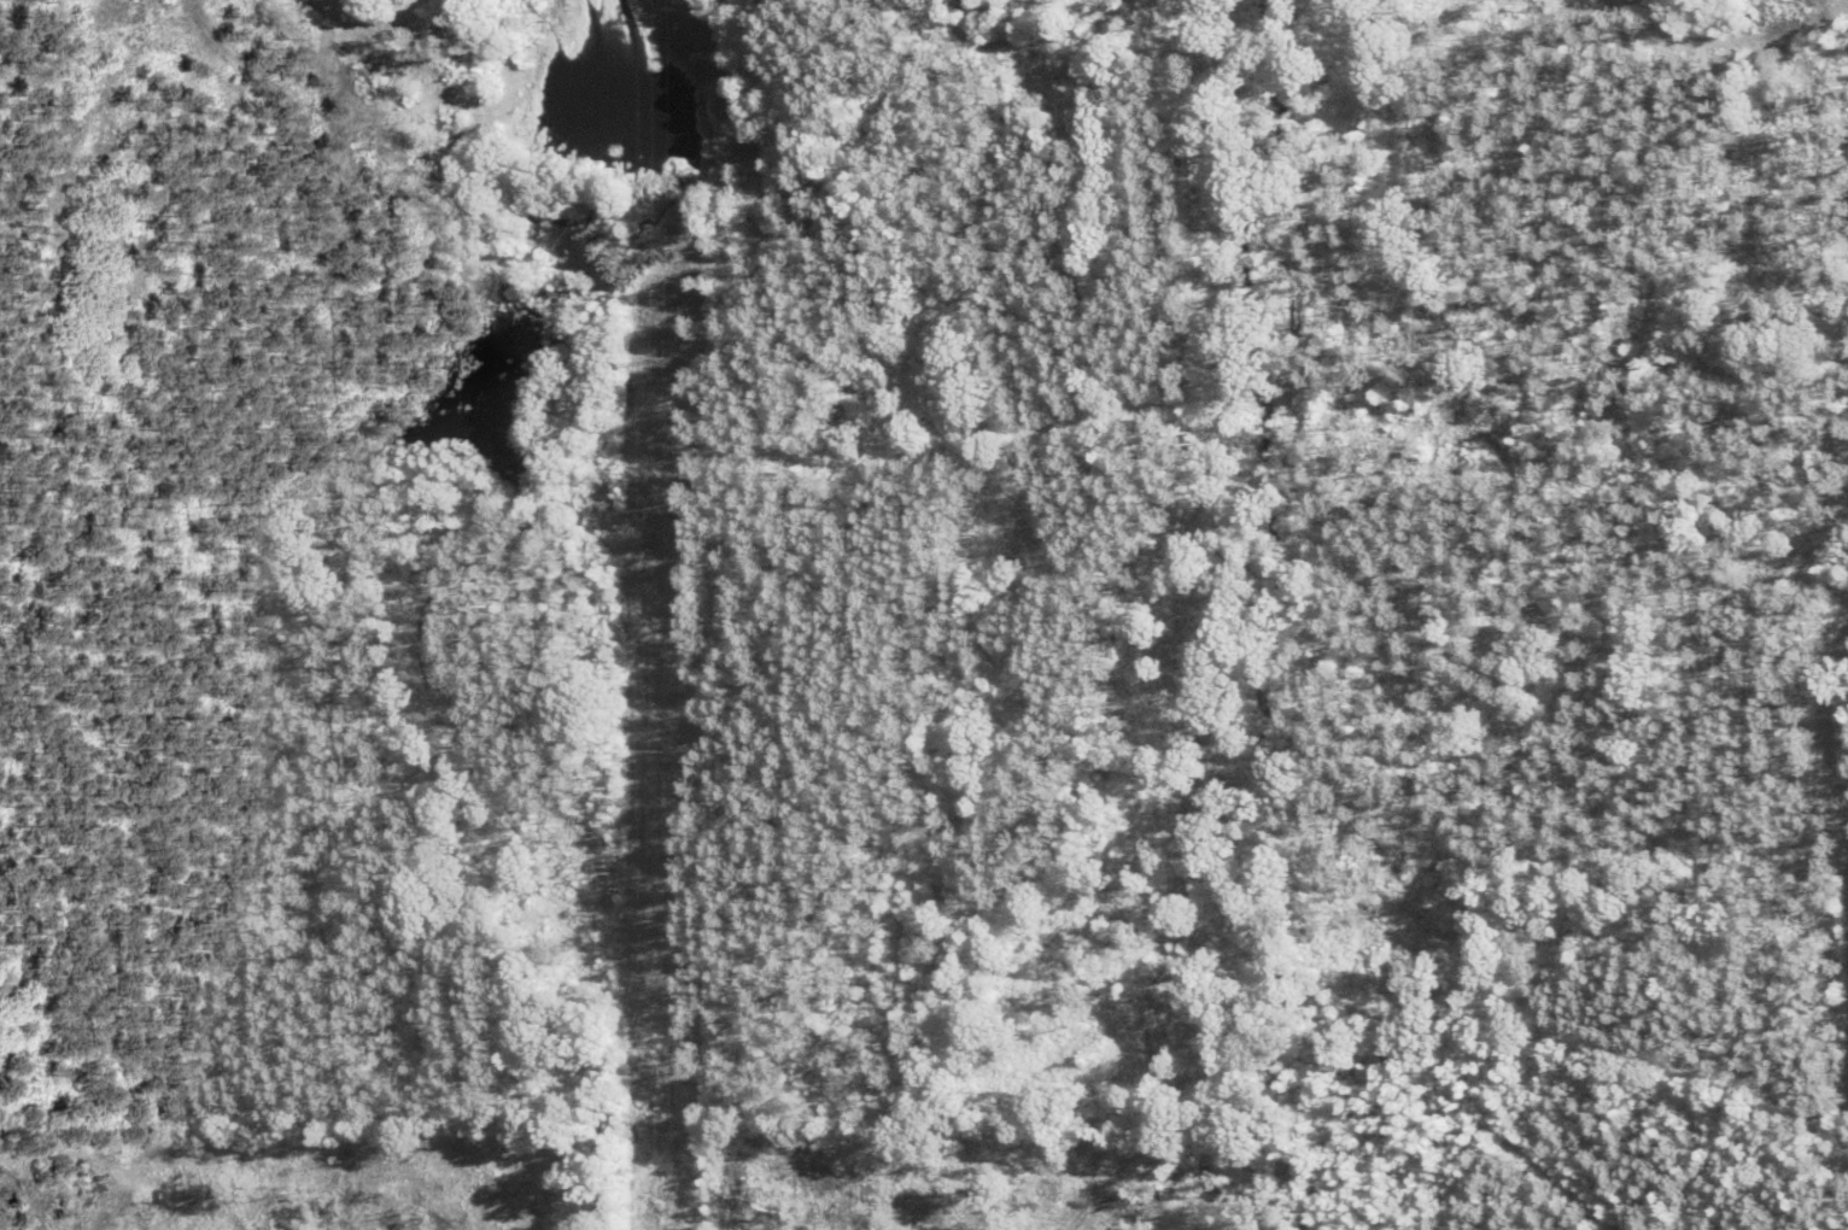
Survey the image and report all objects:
power tower: (665, 358)
power tower: (663, 746)

